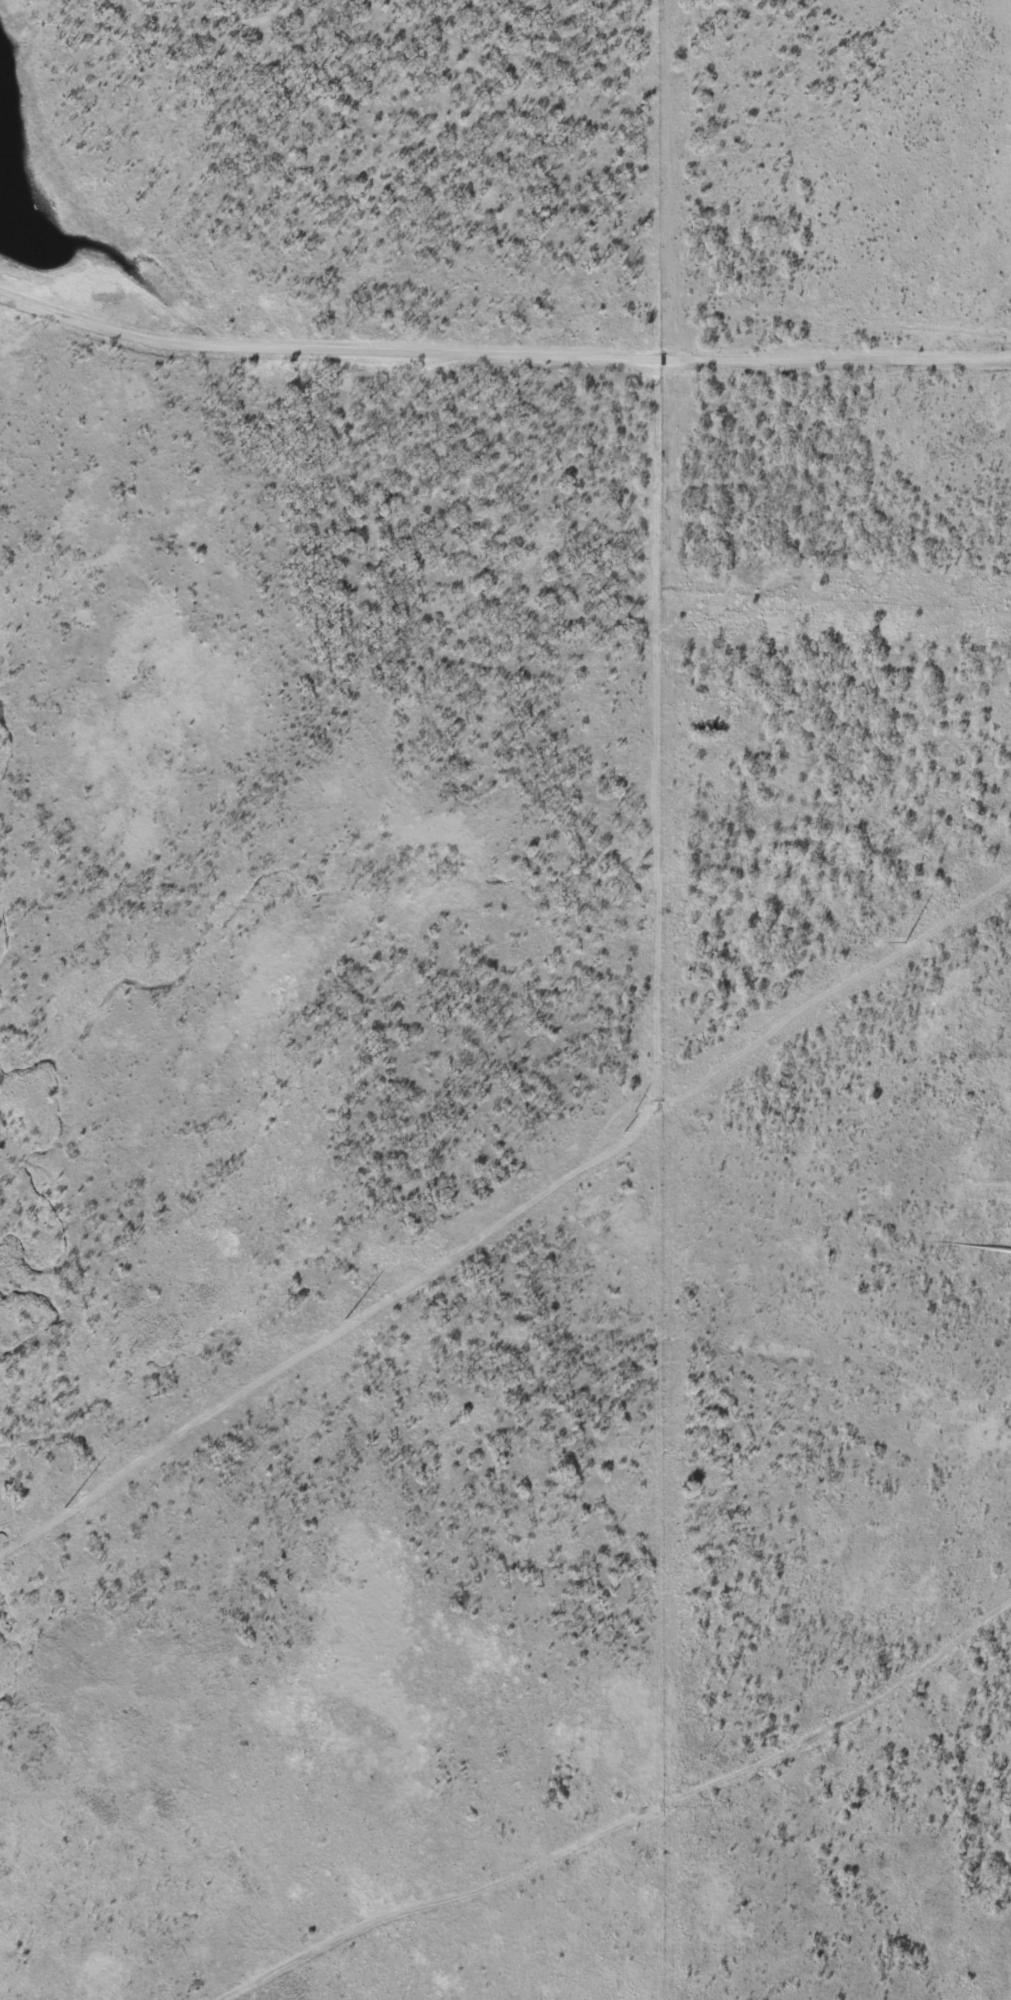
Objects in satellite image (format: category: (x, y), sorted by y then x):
road: (499, 385)
road: (663, 1826)

